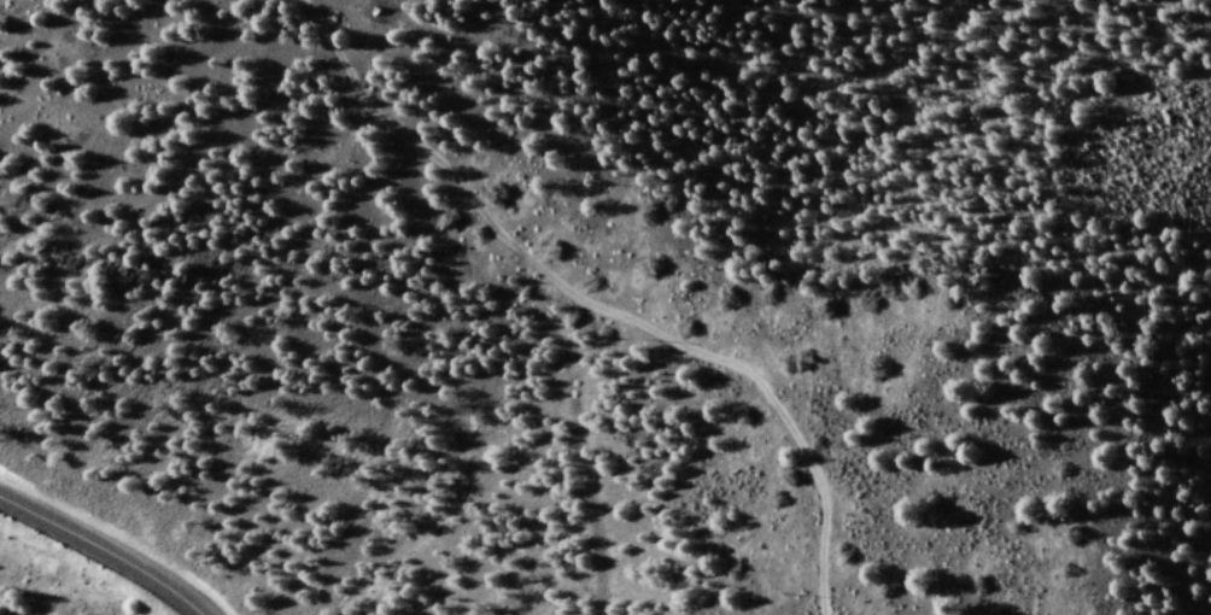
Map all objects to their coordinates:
road: (585, 301)
road: (109, 550)

